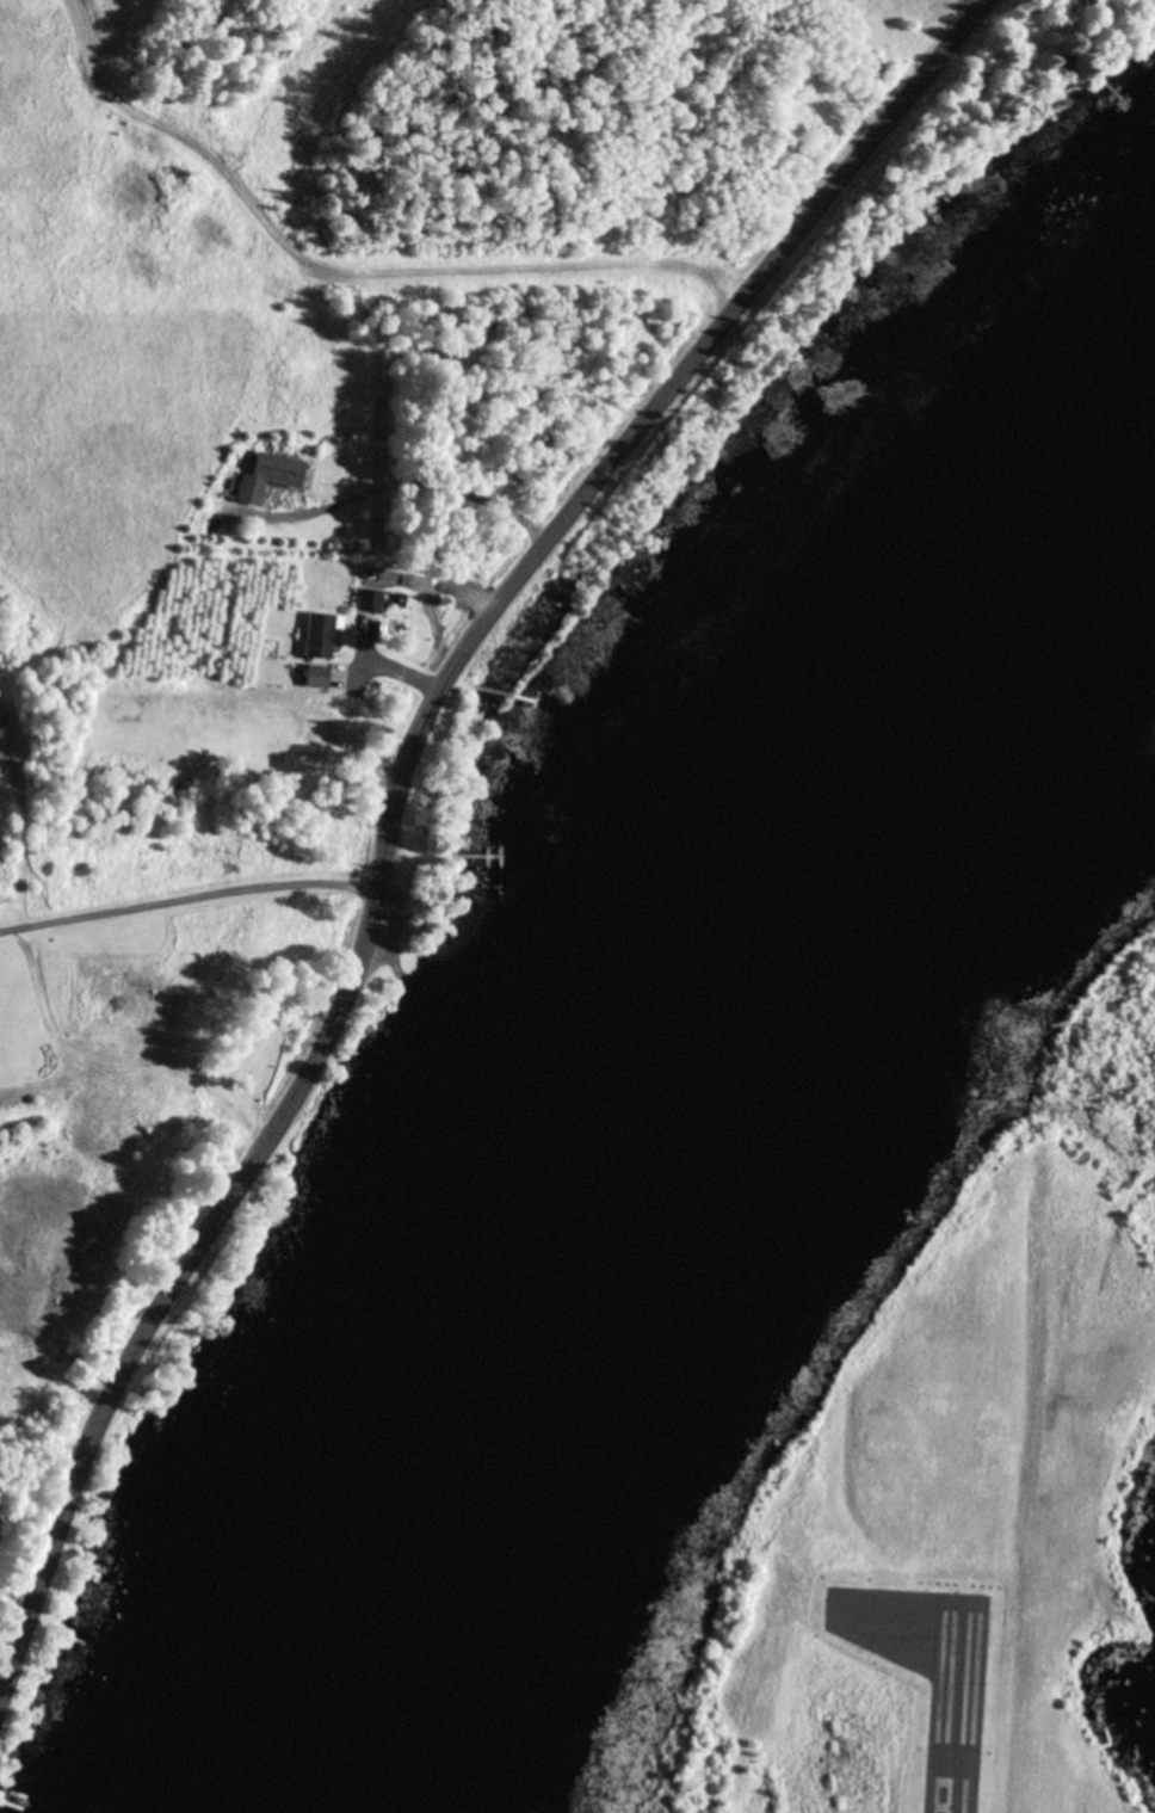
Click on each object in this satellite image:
building: (320, 635)
building: (315, 677)
road: (402, 773)
river: (650, 1048)
airport: (934, 1486)
airport runway: (956, 1709)

